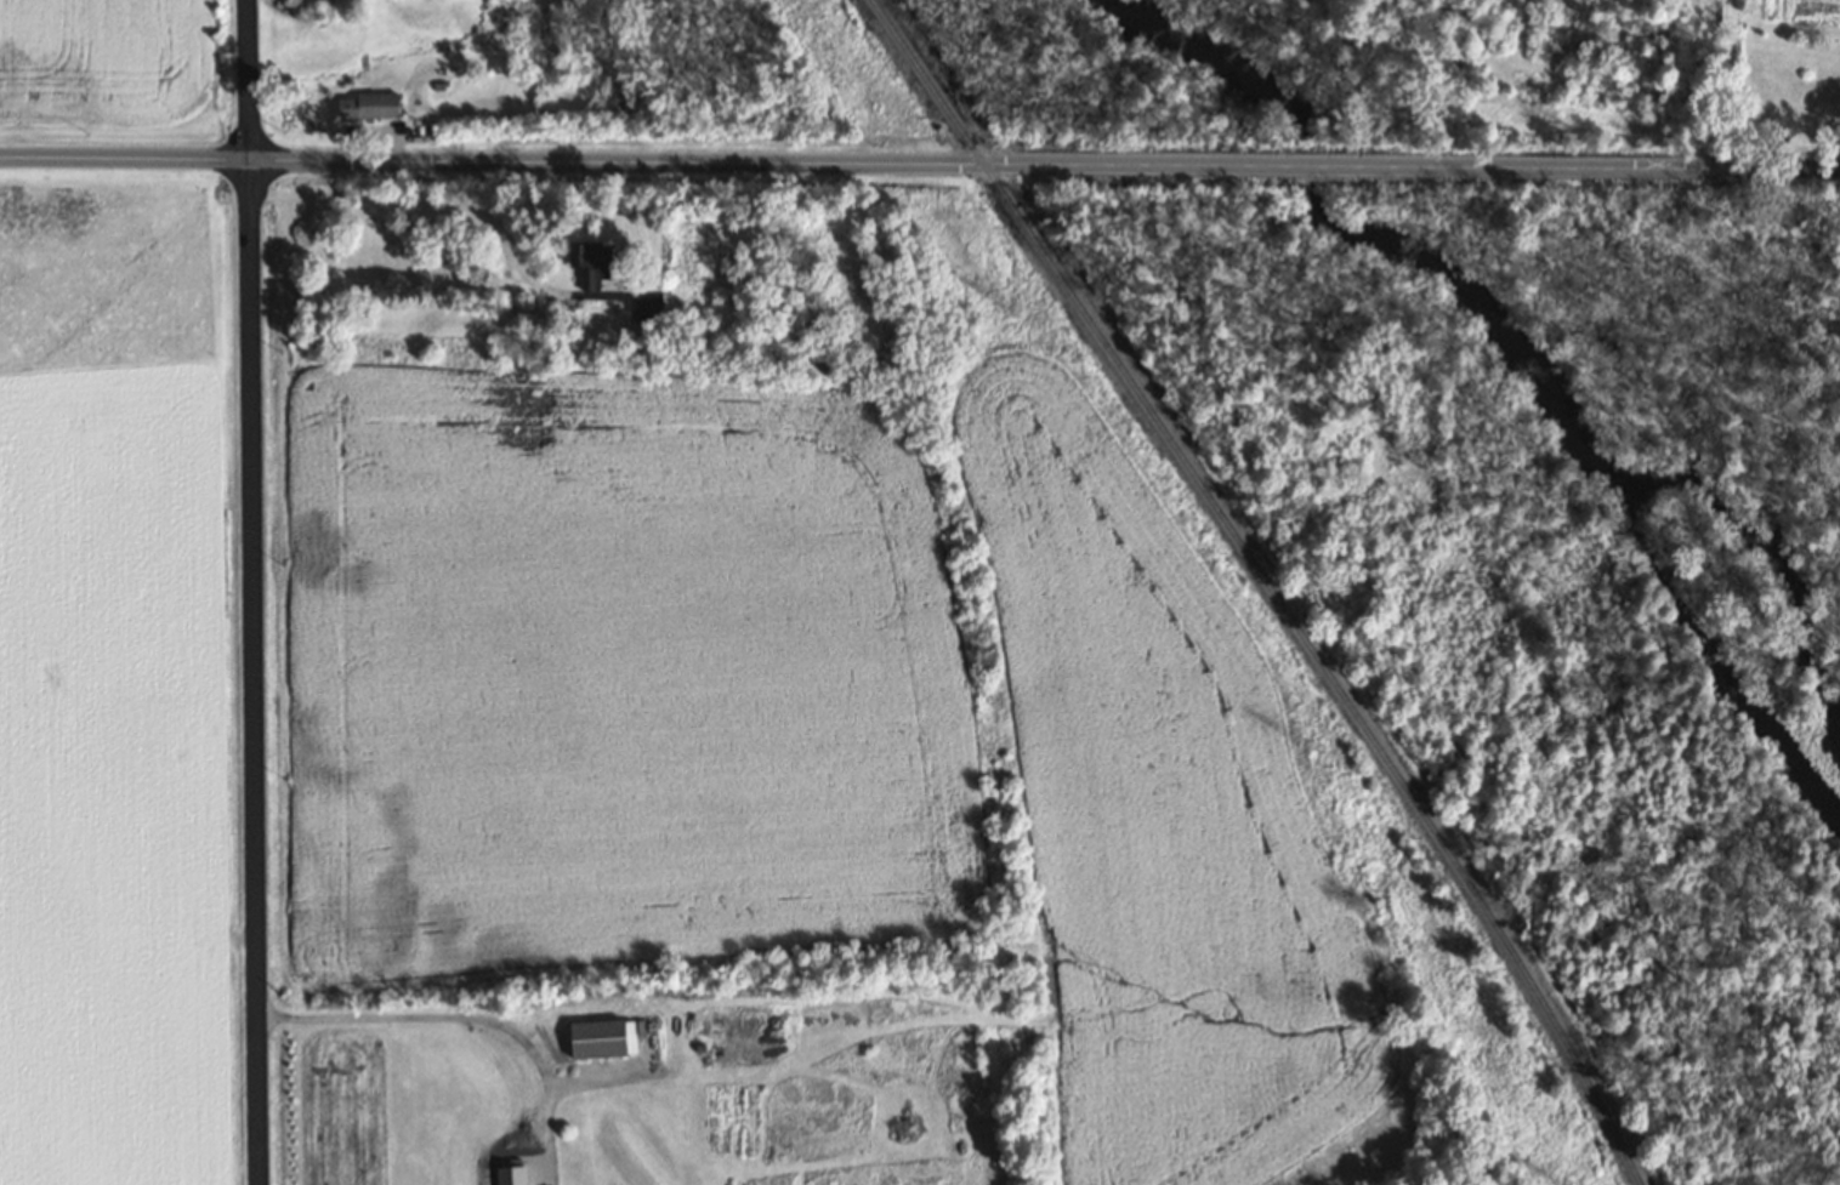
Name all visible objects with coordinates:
building: (365, 104)
road: (919, 164)
building: (586, 262)
building: (641, 330)
river: (1518, 335)
railway: (1270, 585)
road: (255, 592)
river: (1832, 745)
building: (596, 1038)

